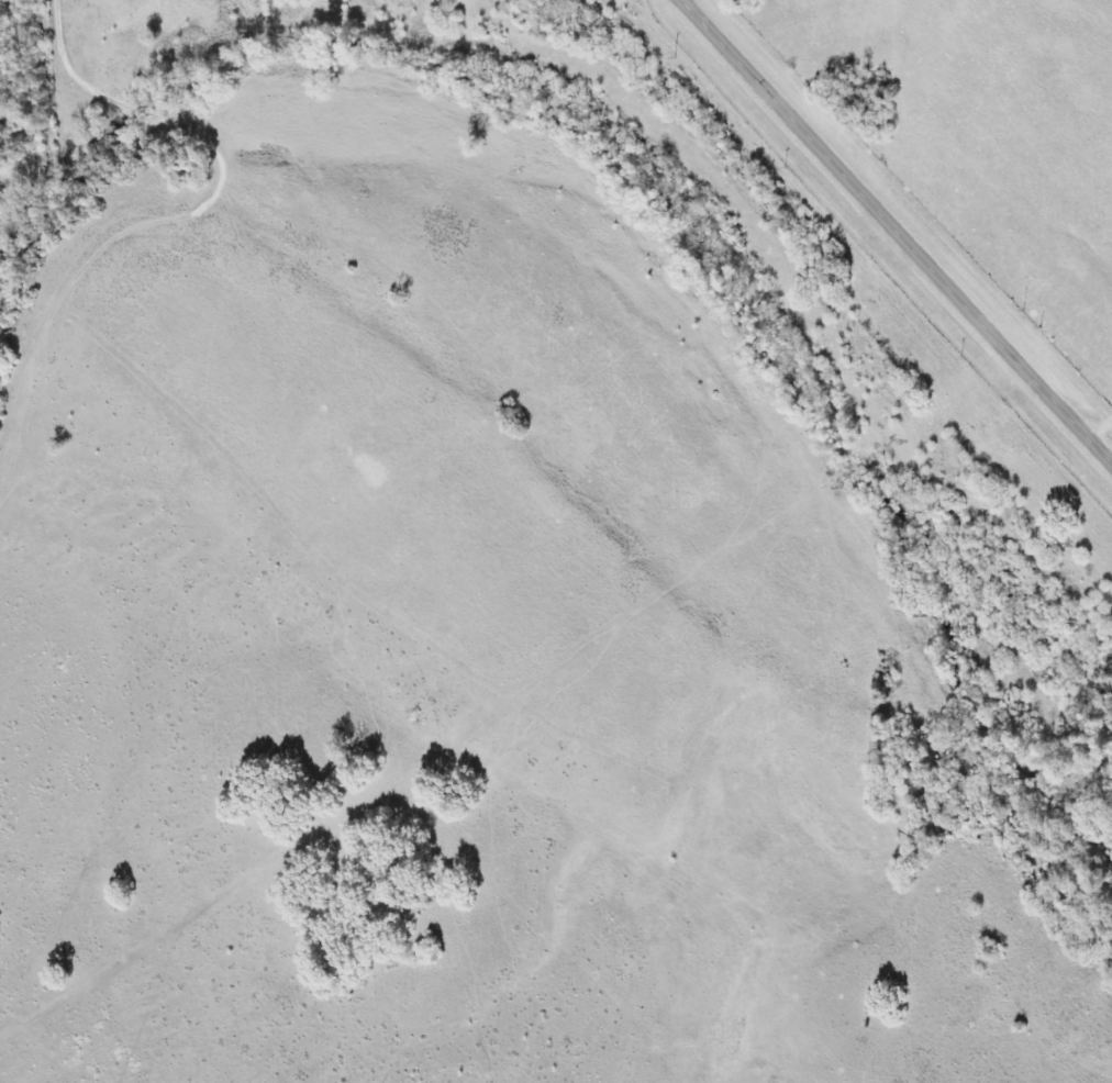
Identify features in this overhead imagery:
road: (896, 232)

